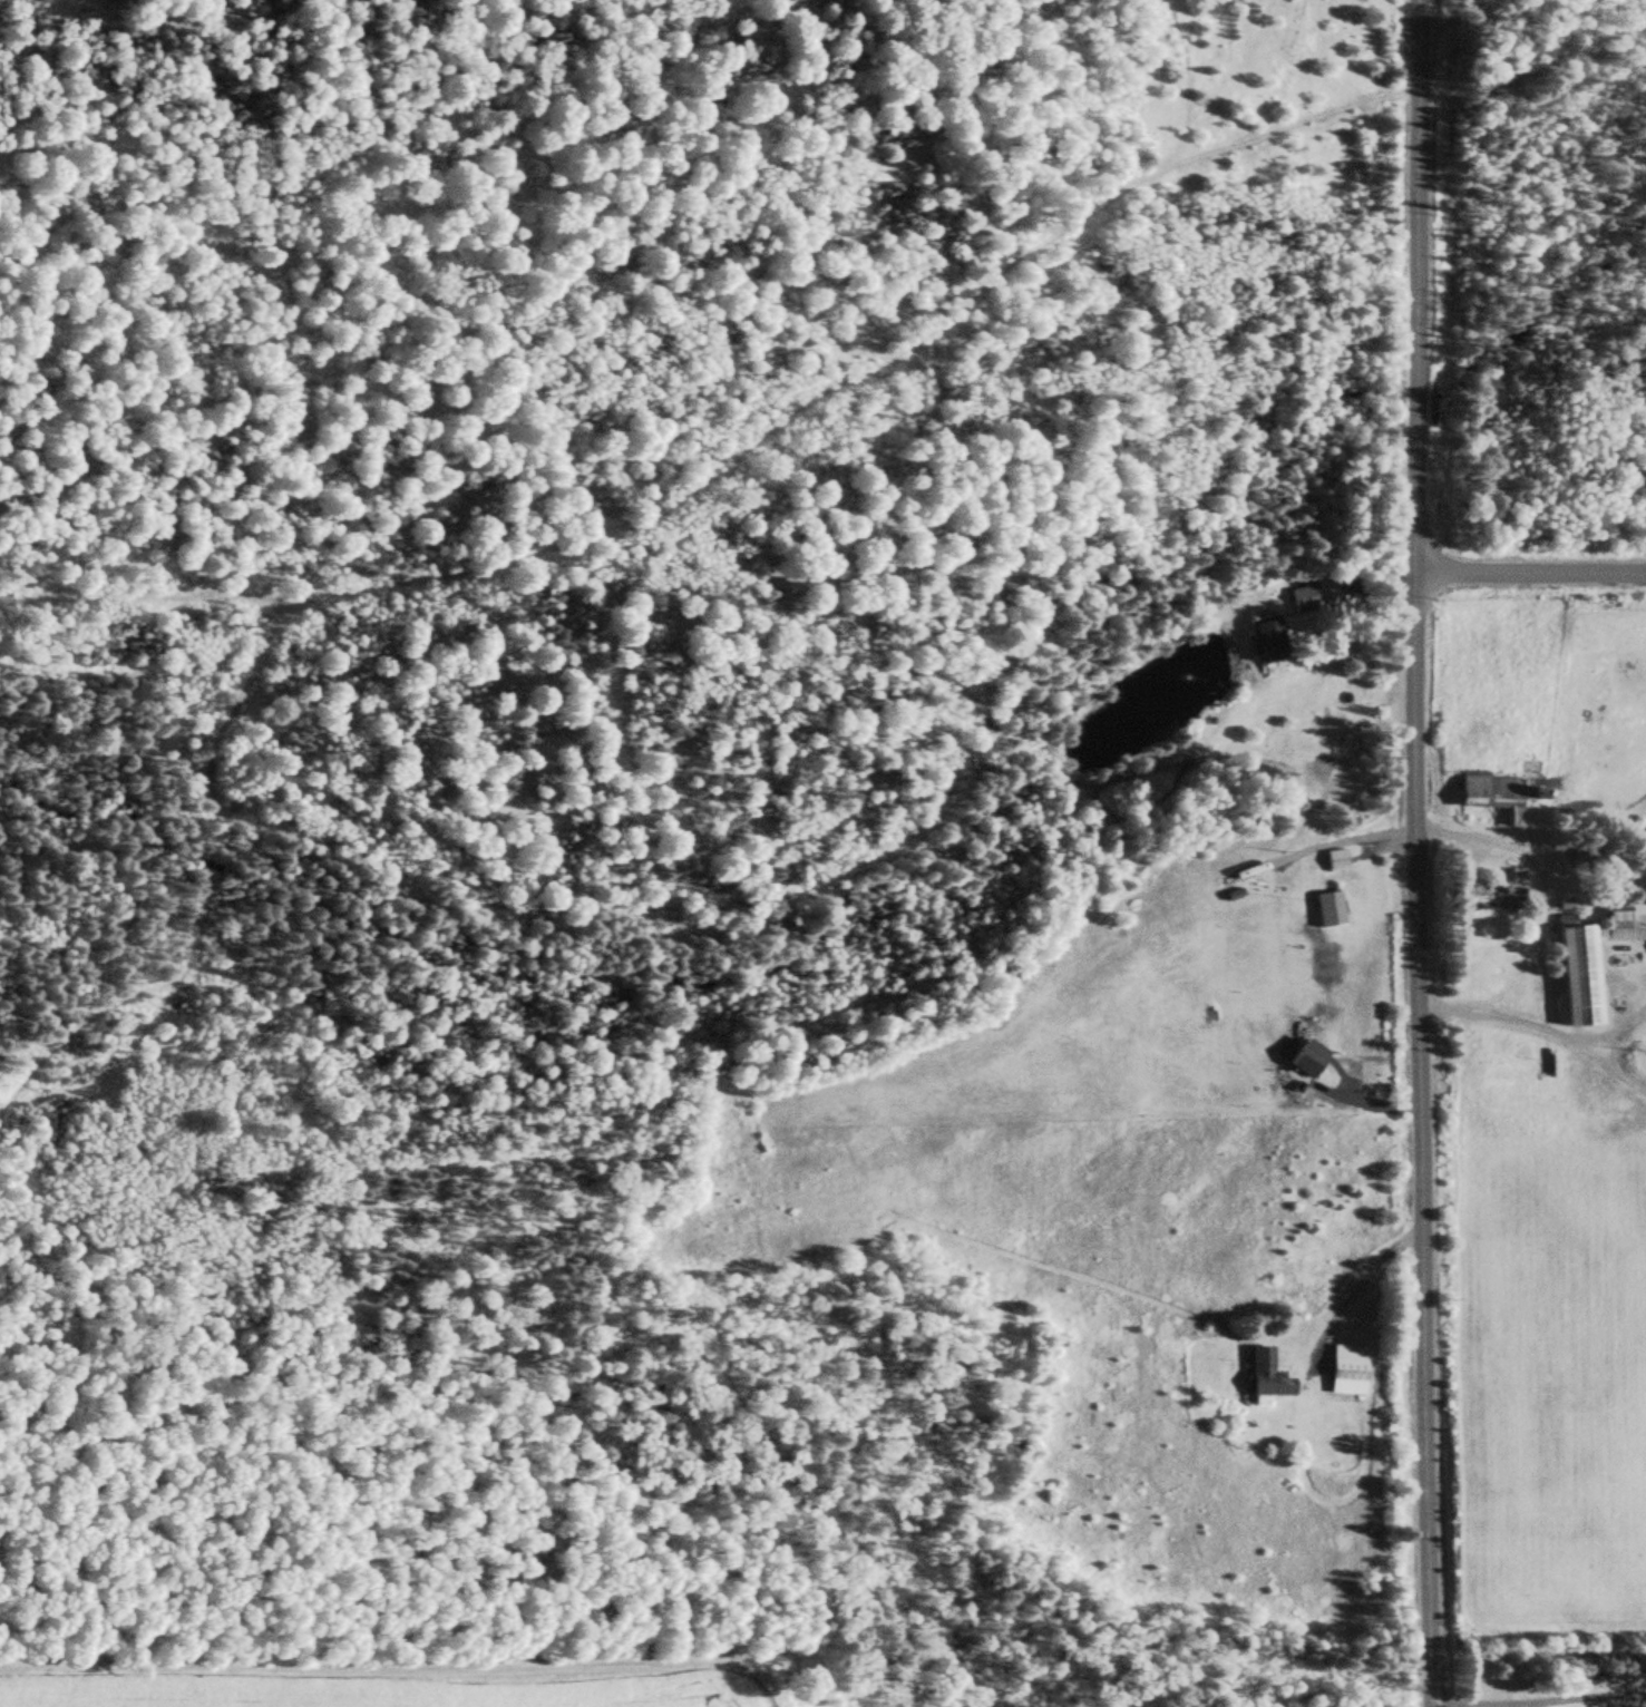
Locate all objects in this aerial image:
road: (1529, 572)
building: (1311, 597)
building: (1268, 641)
building: (1493, 796)
road: (1411, 853)
building: (1336, 862)
building: (1493, 896)
building: (1330, 910)
building: (1594, 963)
building: (1348, 1371)
building: (1267, 1375)
road: (1536, 1704)

